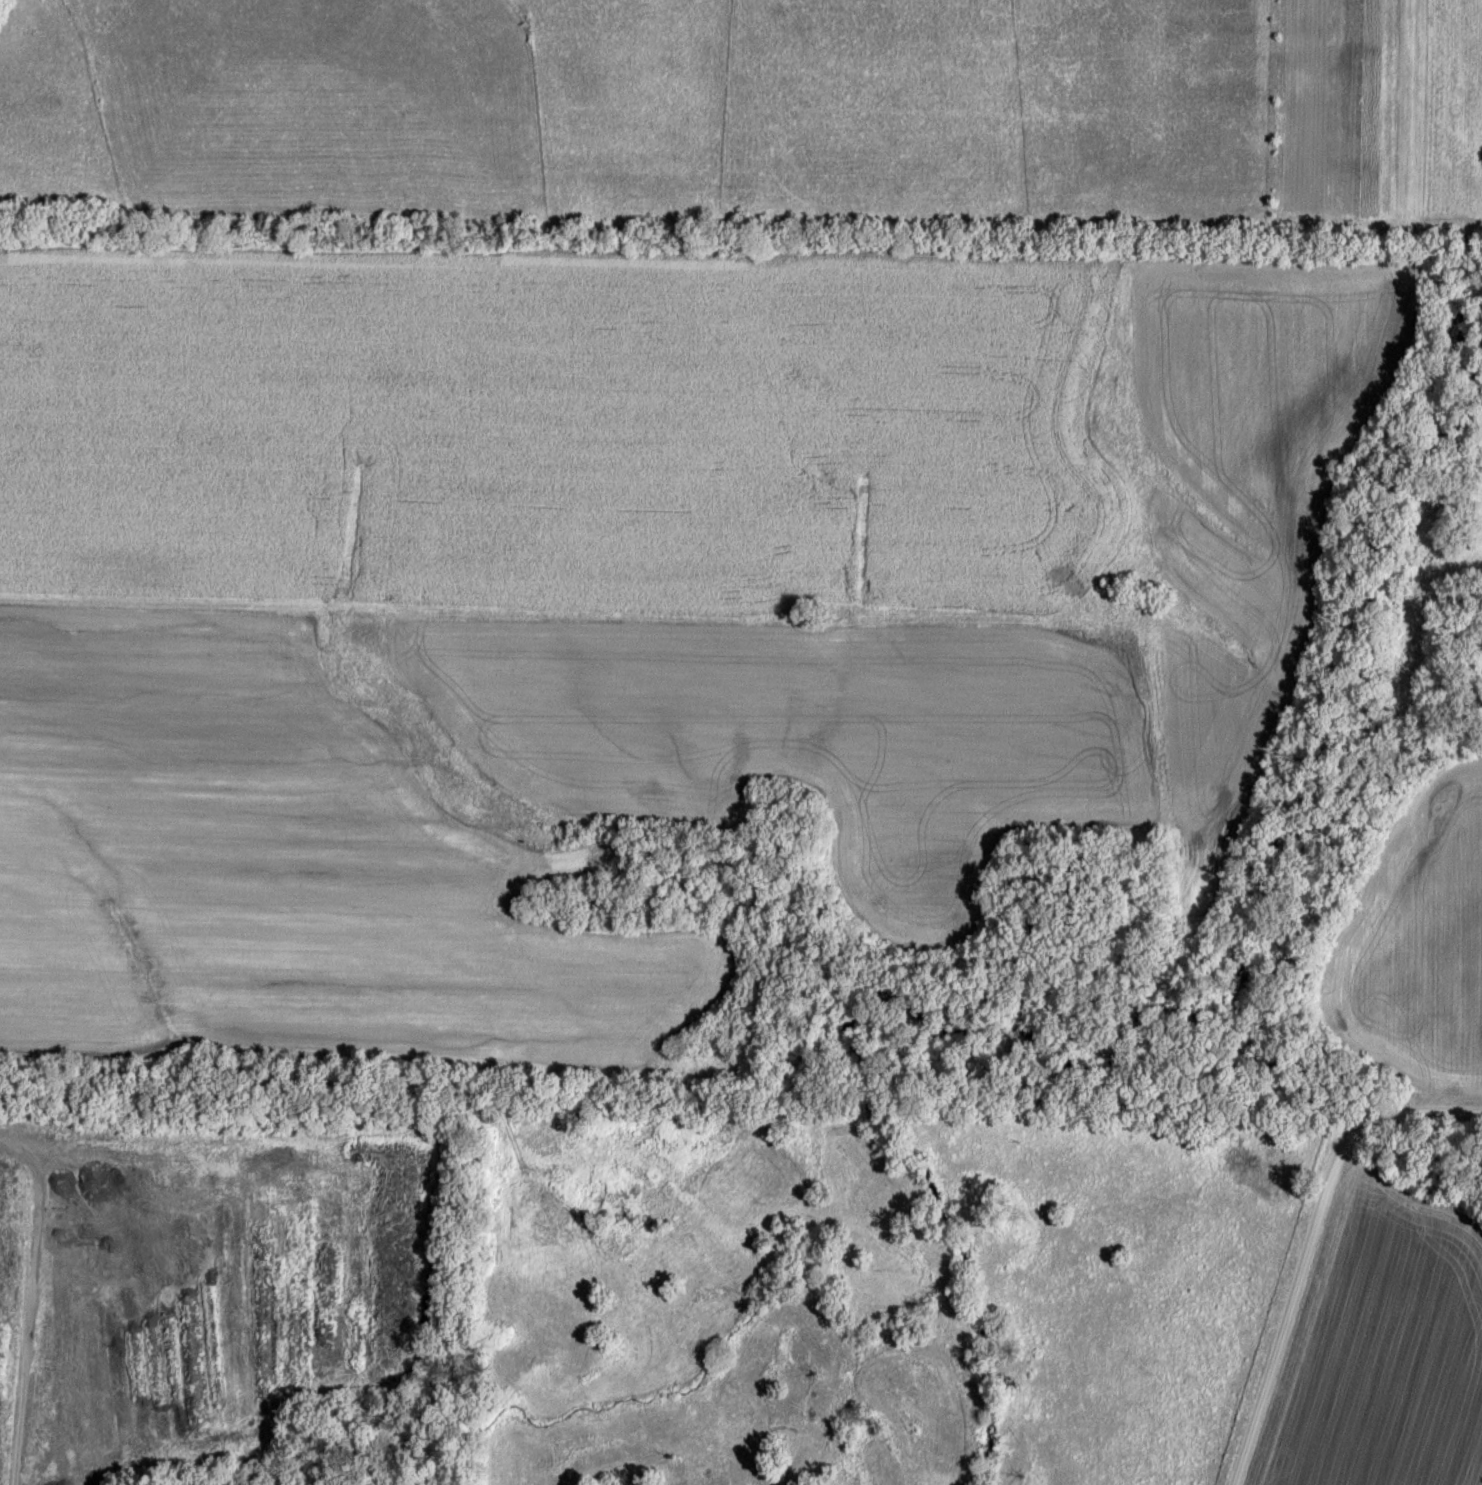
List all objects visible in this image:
road: (1310, 1245)

